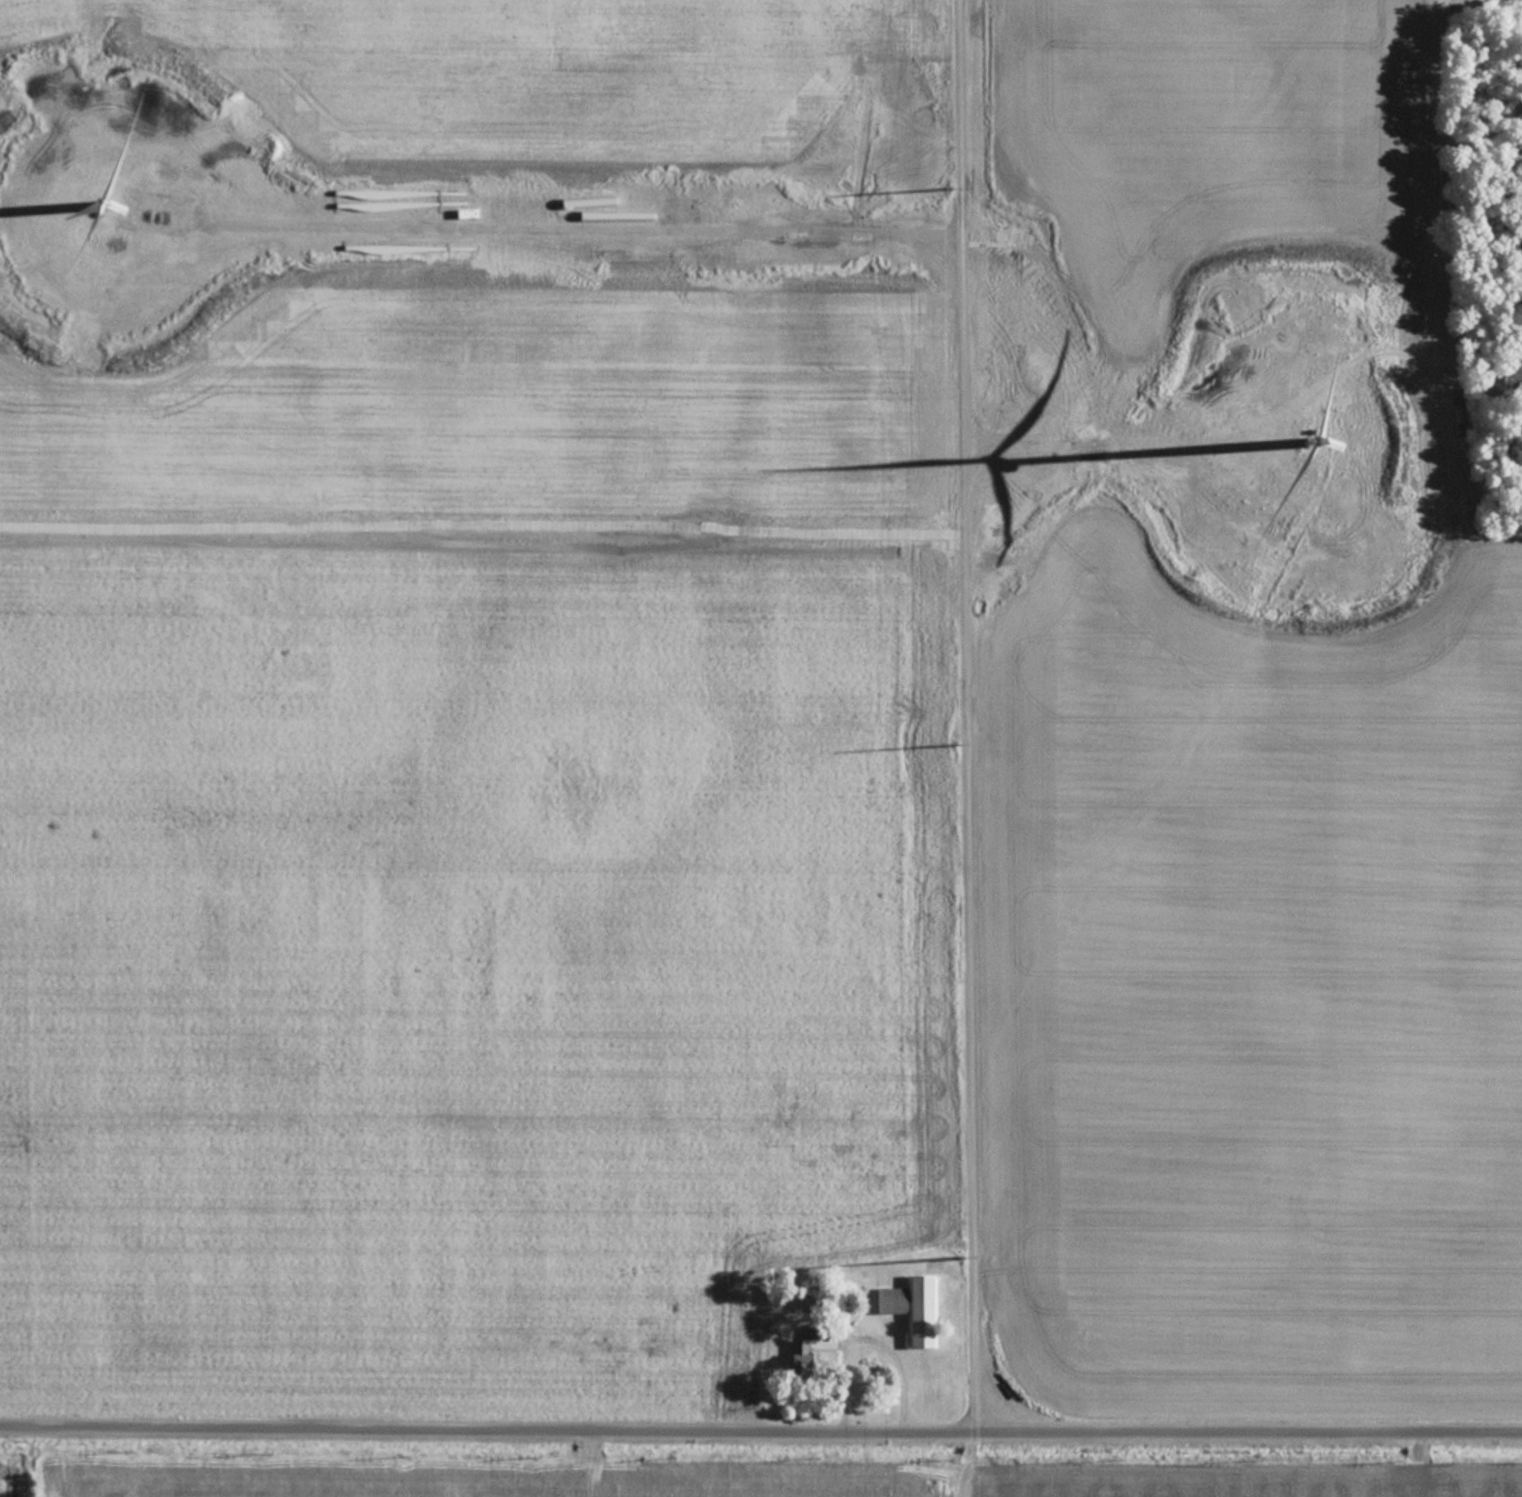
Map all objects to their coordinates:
wind turbine: (111, 210)
wind turbine: (1307, 445)
building: (914, 1306)
building: (803, 1359)
road: (760, 1434)

